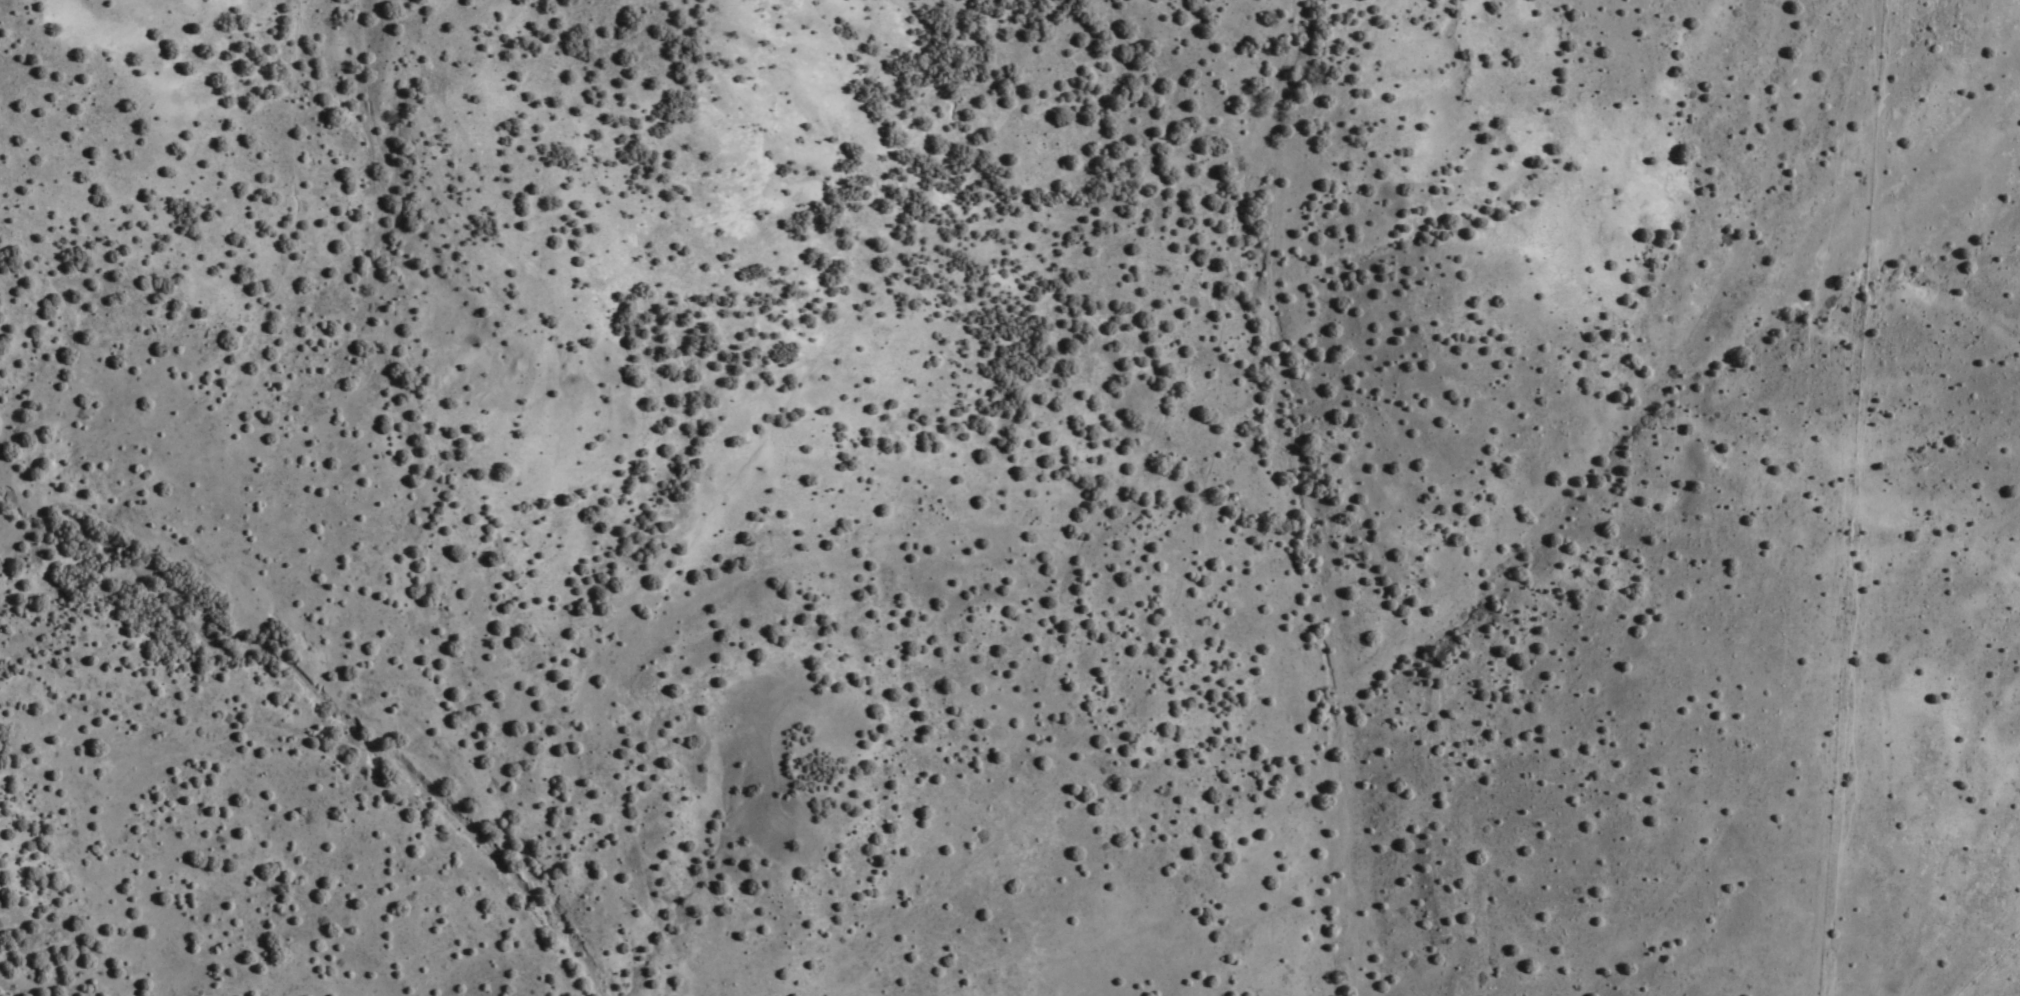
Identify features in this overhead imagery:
road: (1998, 968)

